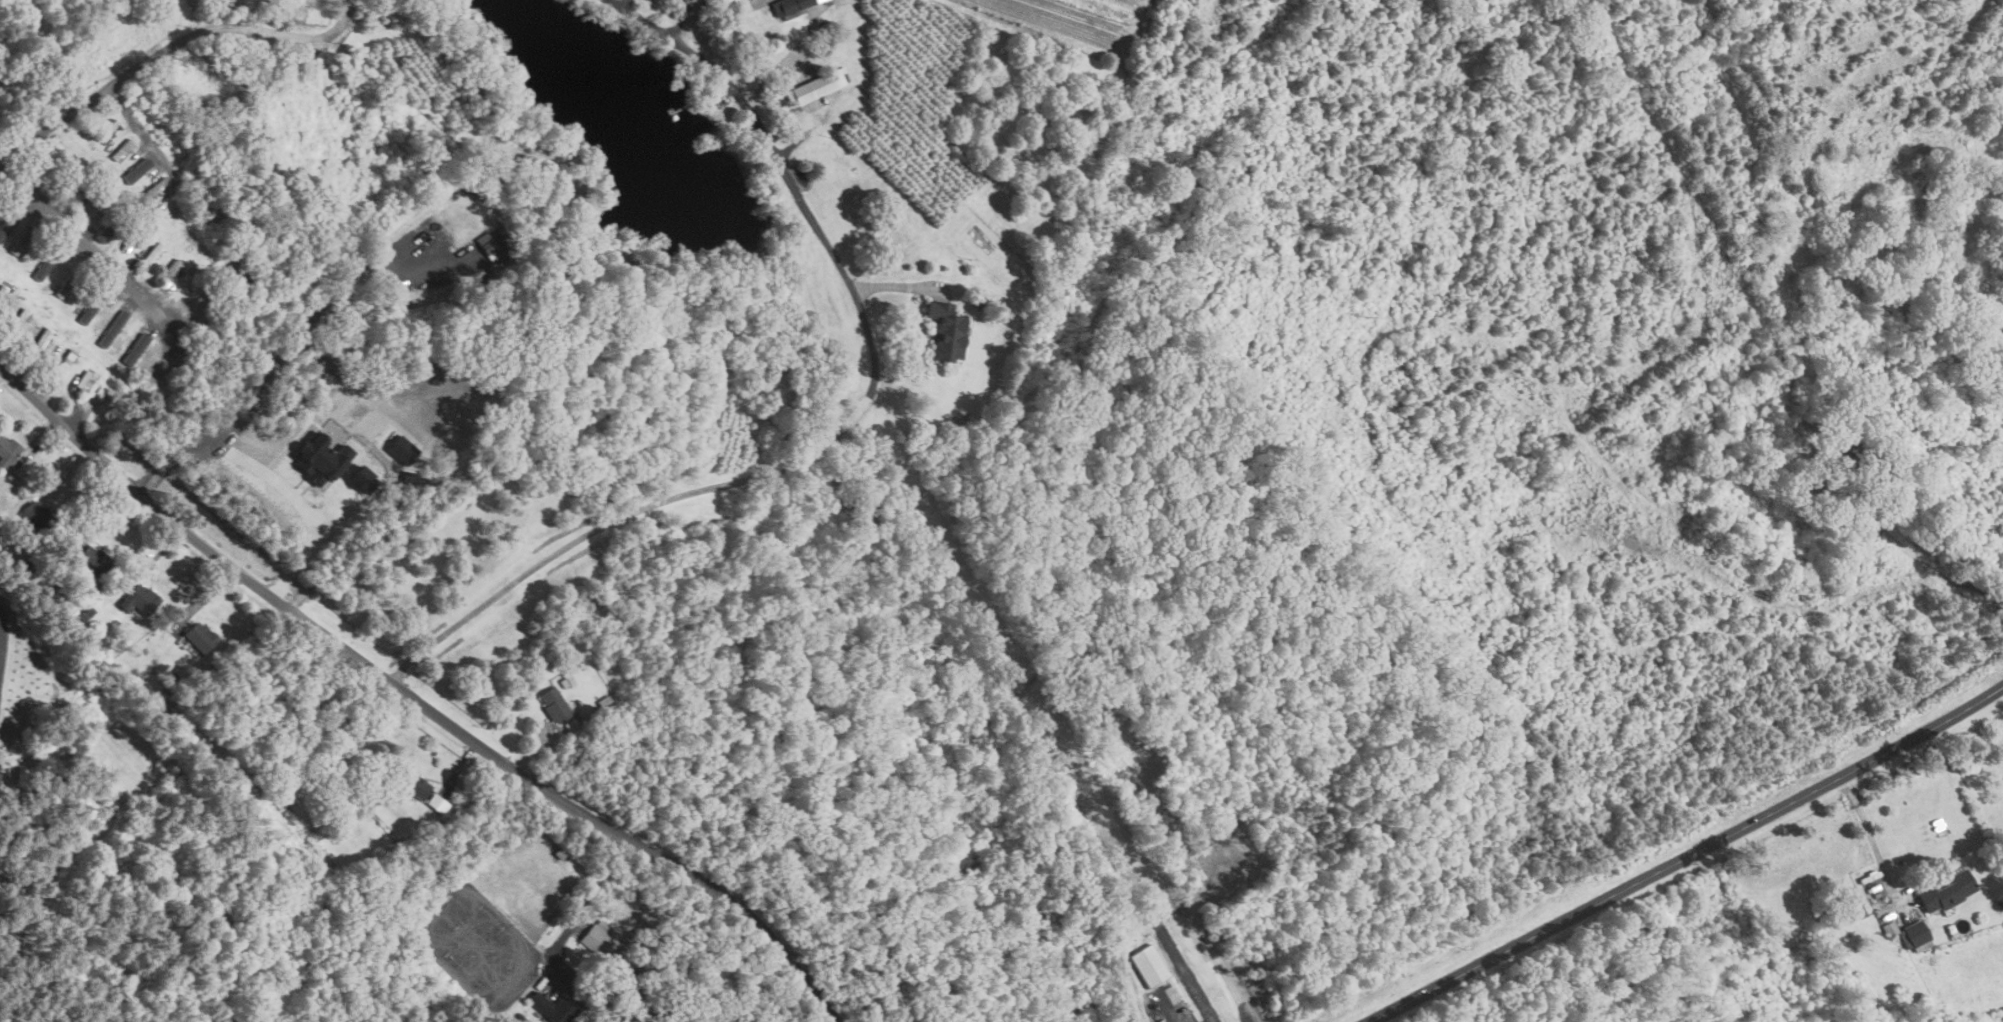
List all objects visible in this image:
road: (170, 44)
building: (816, 87)
building: (107, 129)
building: (125, 151)
building: (155, 188)
building: (24, 241)
building: (152, 253)
building: (172, 269)
building: (66, 285)
road: (144, 300)
building: (21, 318)
building: (947, 331)
building: (43, 338)
building: (135, 344)
building: (67, 360)
road: (271, 366)
building: (87, 380)
road: (852, 422)
building: (401, 448)
building: (8, 455)
building: (322, 458)
building: (362, 479)
building: (37, 516)
road: (1926, 534)
building: (92, 559)
building: (142, 598)
road: (2, 635)
building: (198, 638)
road: (416, 700)
building: (554, 704)
building: (415, 785)
building: (438, 803)
road: (1871, 834)
road: (1688, 856)
building: (1946, 891)
building: (1889, 928)
building: (1914, 934)
building: (600, 938)
building: (1149, 966)
road: (694, 993)
building: (554, 1007)
road: (1166, 1009)

